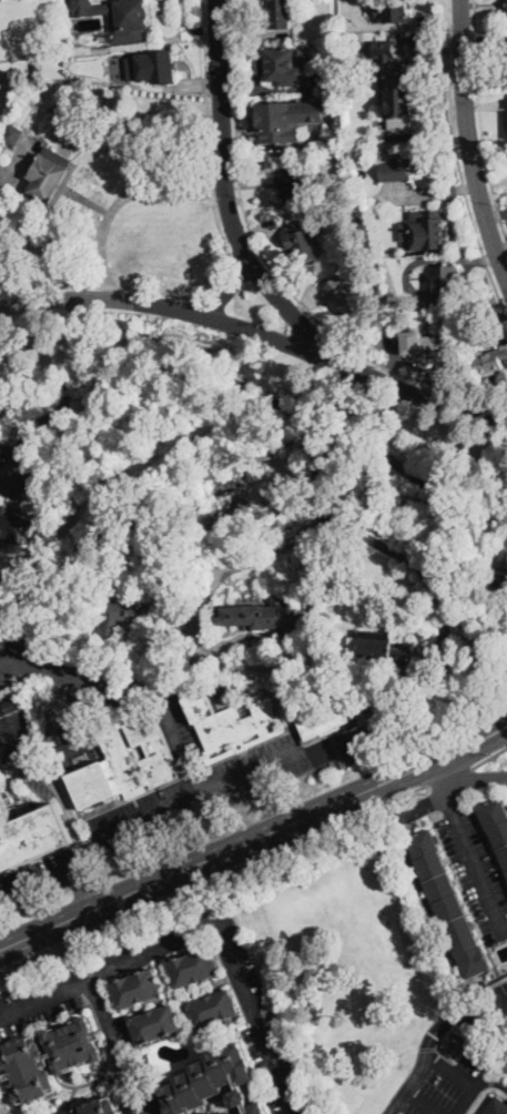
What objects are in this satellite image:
building: (392, 10)
building: (506, 12)
building: (280, 13)
building: (120, 16)
building: (54, 63)
building: (153, 65)
building: (287, 70)
building: (326, 77)
building: (395, 87)
building: (287, 118)
road: (480, 120)
building: (13, 134)
road: (468, 141)
road: (458, 160)
building: (394, 170)
building: (48, 173)
building: (358, 173)
building: (293, 181)
road: (226, 194)
road: (119, 200)
building: (376, 213)
building: (352, 220)
building: (424, 230)
building: (302, 241)
road: (229, 255)
road: (273, 270)
building: (444, 284)
road: (231, 290)
building: (351, 300)
road: (258, 331)
building: (435, 344)
building: (485, 362)
road: (62, 403)
road: (321, 433)
building: (12, 528)
road: (409, 557)
building: (498, 576)
building: (123, 615)
building: (261, 617)
road: (196, 619)
building: (468, 621)
building: (384, 648)
building: (162, 652)
building: (268, 661)
road: (3, 664)
building: (219, 667)
building: (111, 671)
building: (221, 687)
road: (132, 690)
building: (13, 705)
building: (2, 708)
building: (320, 723)
building: (232, 727)
road: (12, 735)
road: (439, 748)
road: (489, 758)
building: (126, 763)
road: (443, 763)
road: (448, 774)
road: (439, 779)
road: (454, 787)
road: (187, 799)
road: (266, 800)
road: (62, 801)
building: (26, 808)
building: (496, 824)
building: (30, 834)
road: (476, 863)
road: (187, 865)
parking lot: (476, 871)
road: (213, 877)
road: (84, 888)
building: (448, 903)
road: (182, 936)
building: (194, 968)
building: (138, 990)
road: (45, 994)
parking lot: (497, 996)
parking lot: (38, 1000)
building: (214, 1009)
road: (501, 1013)
parking lot: (503, 1015)
road: (501, 1016)
building: (155, 1025)
building: (453, 1043)
road: (432, 1045)
building: (50, 1057)
building: (149, 1062)
parking lot: (130, 1070)
road: (464, 1083)
building: (214, 1085)
parking lot: (447, 1087)
road: (422, 1103)
building: (497, 1106)
building: (100, 1107)
road: (0, 1113)

